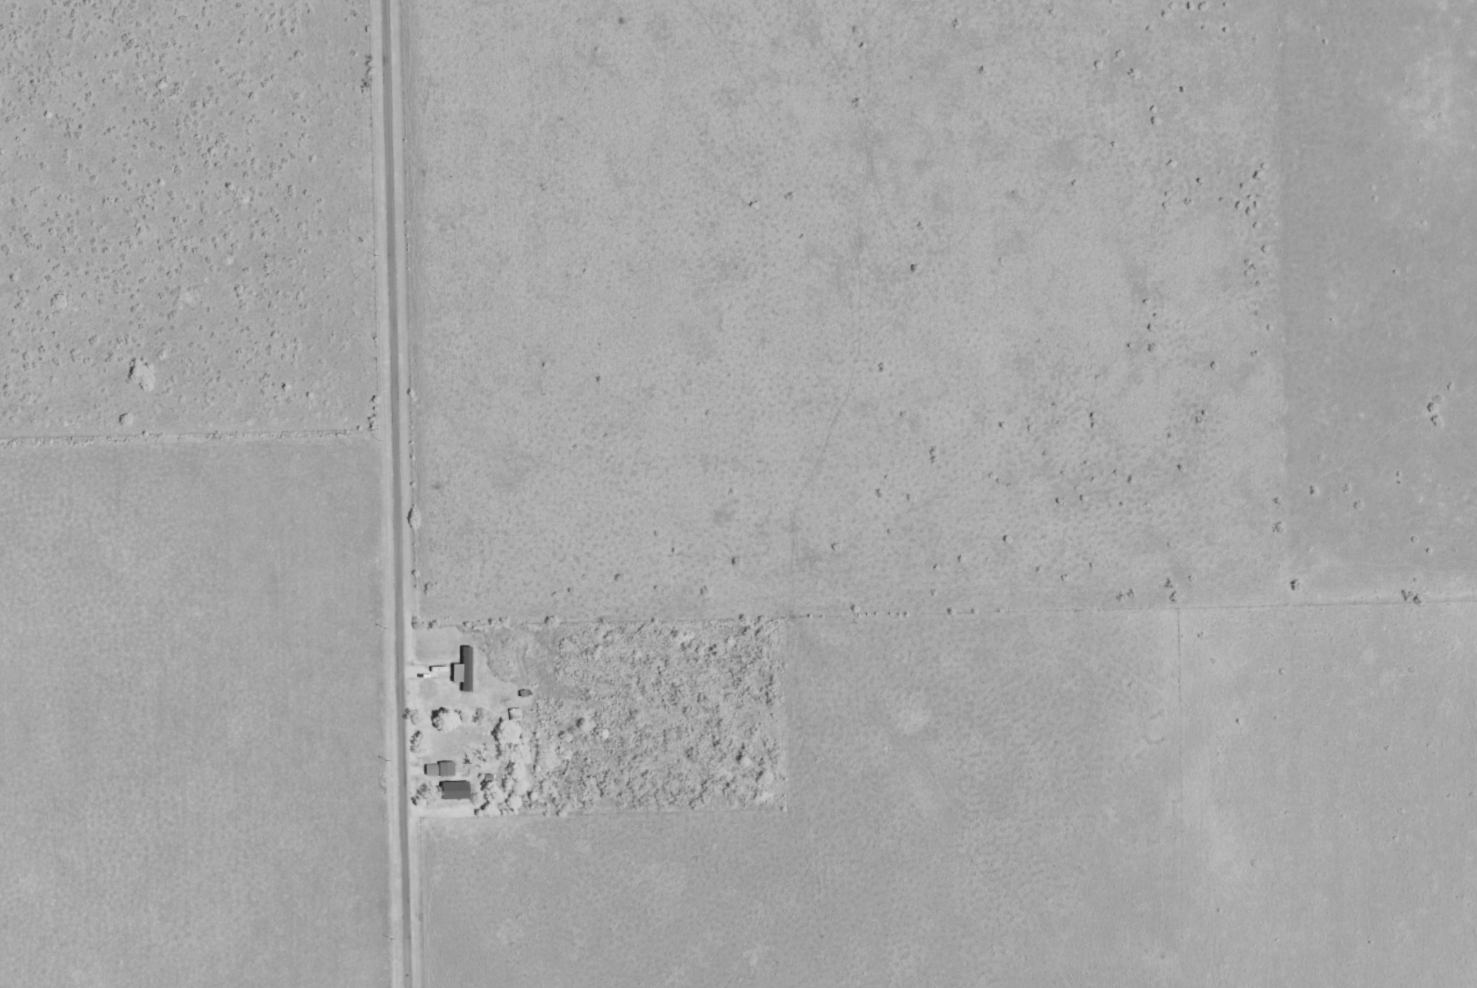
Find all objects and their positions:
road: (399, 493)
building: (463, 670)
building: (445, 769)
building: (430, 770)
building: (454, 791)

